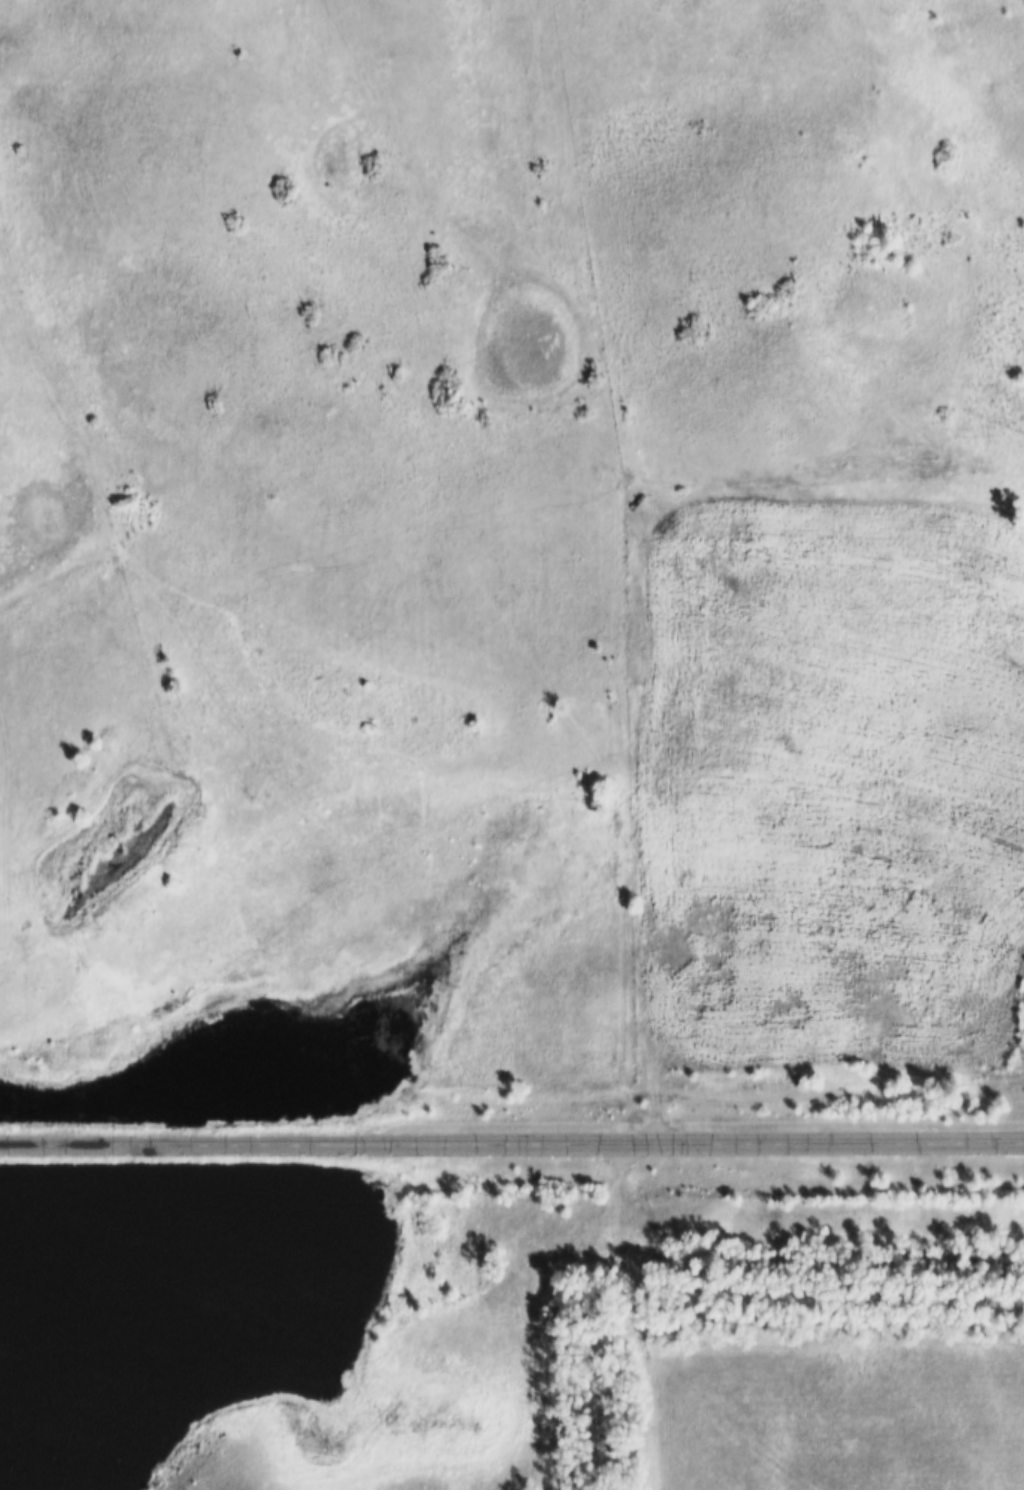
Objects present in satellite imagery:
road: (511, 1142)

